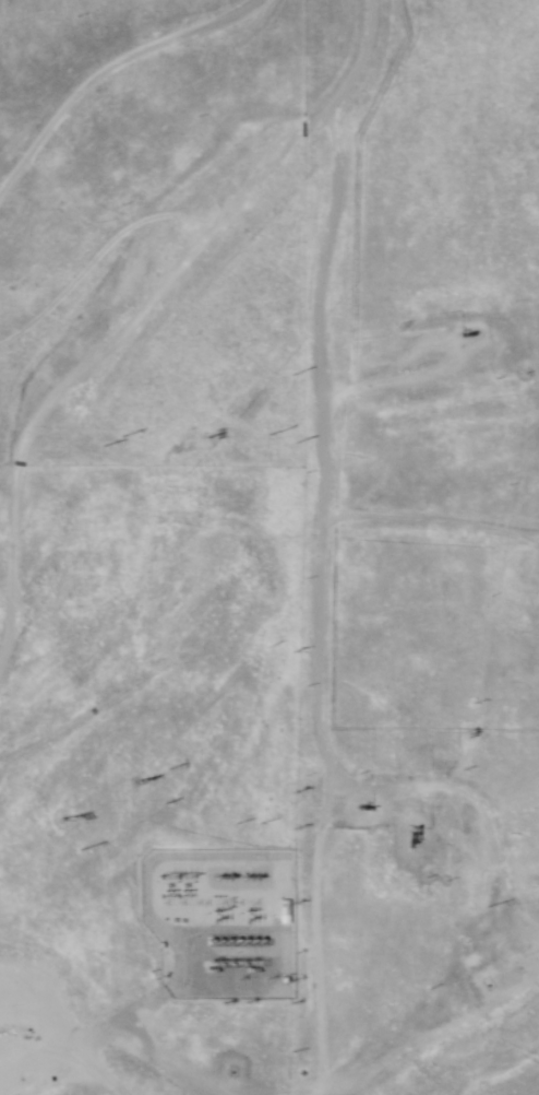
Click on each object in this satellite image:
road: (110, 80)
building: (284, 914)
road: (406, 1032)
road: (155, 1055)
road: (15, 1083)

